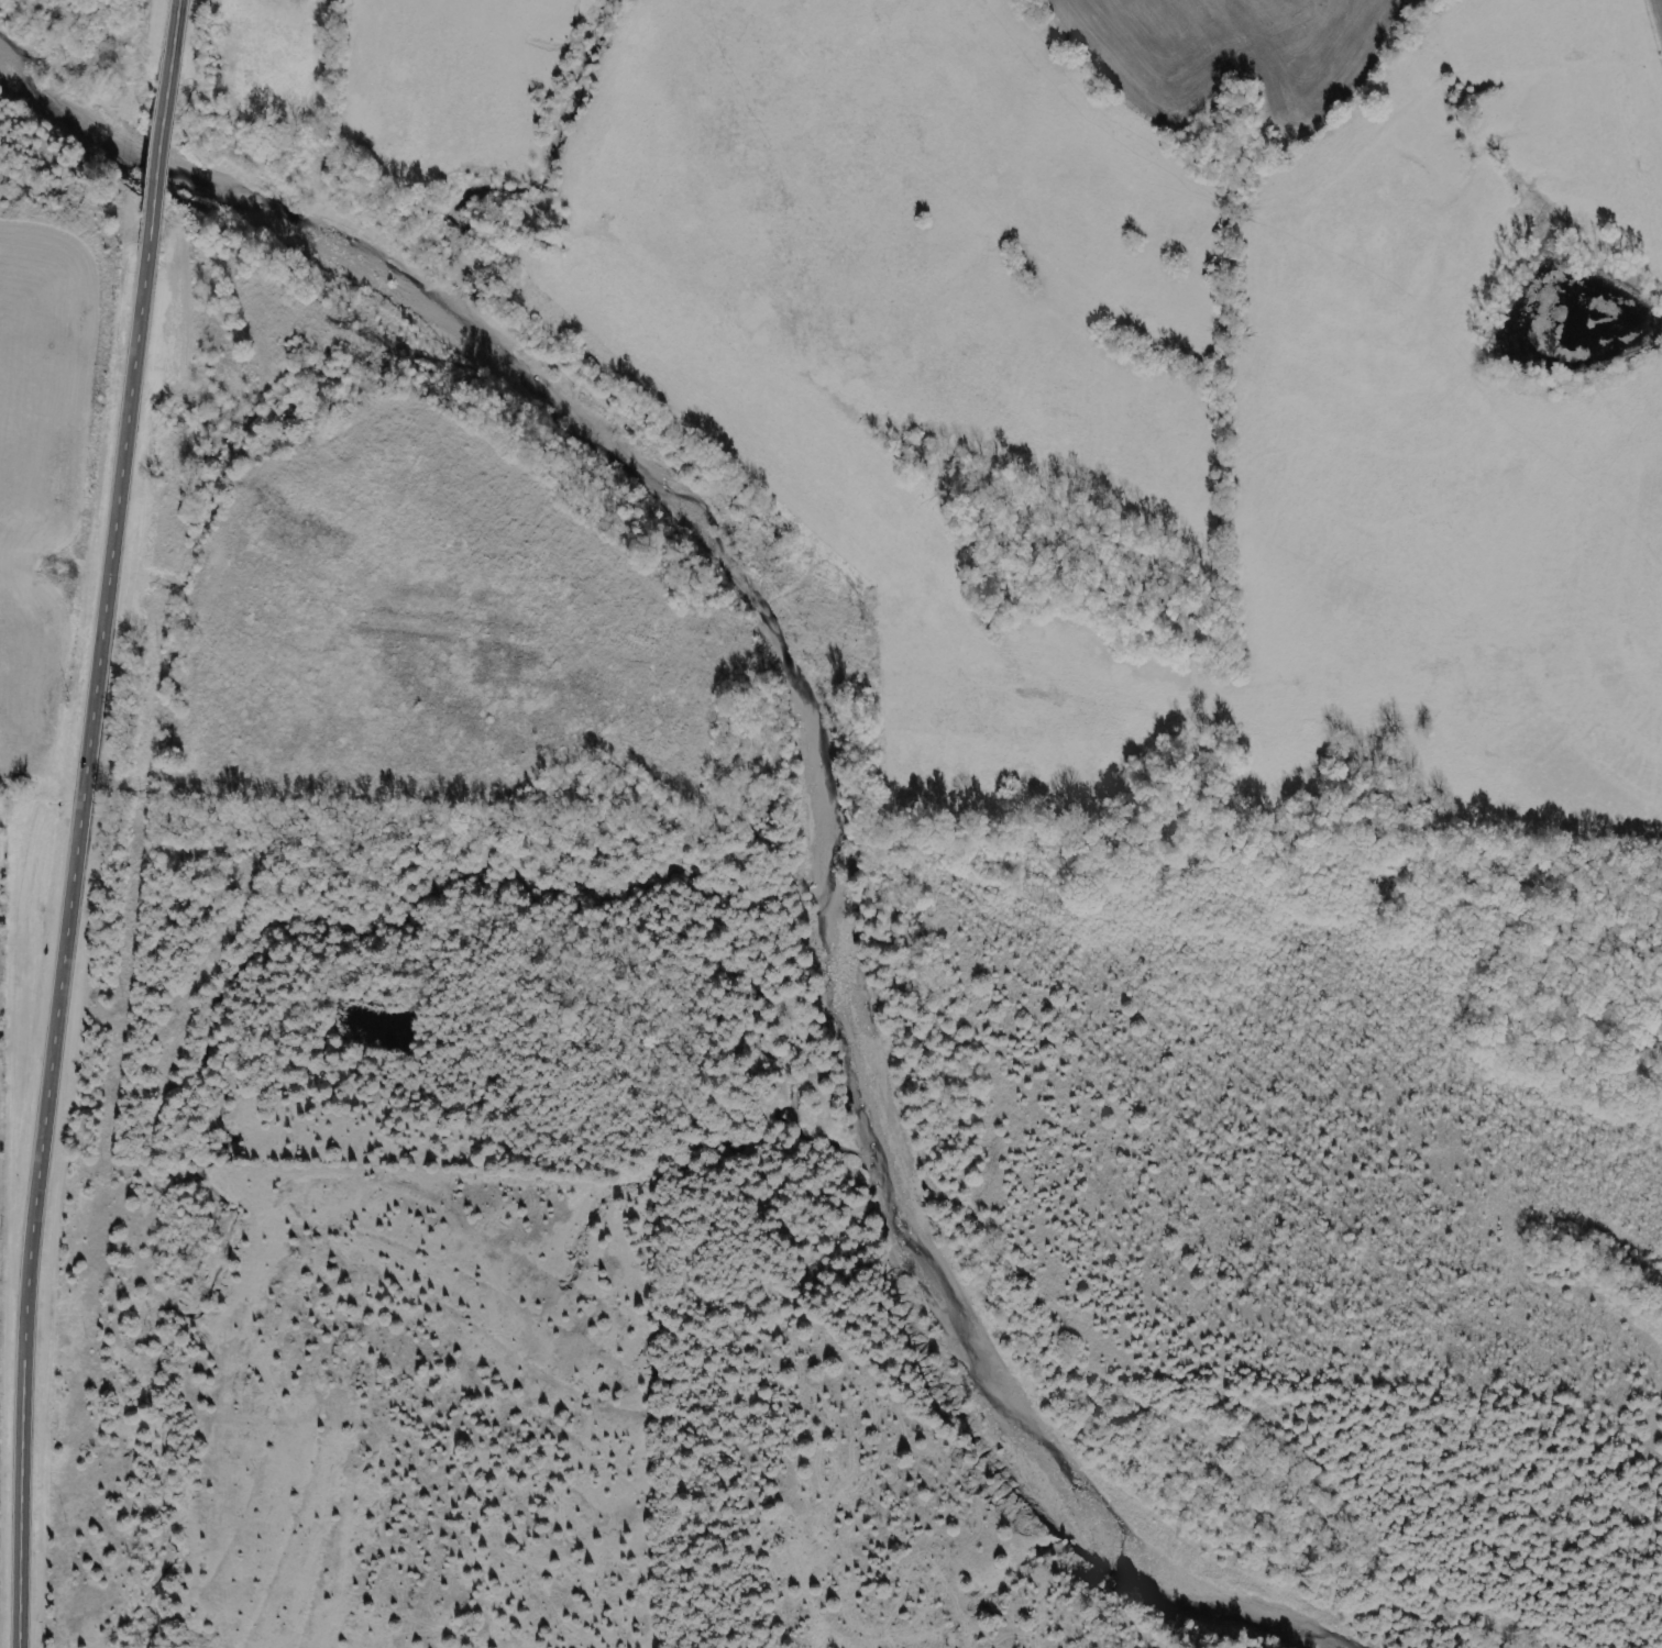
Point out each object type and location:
road: (80, 822)

